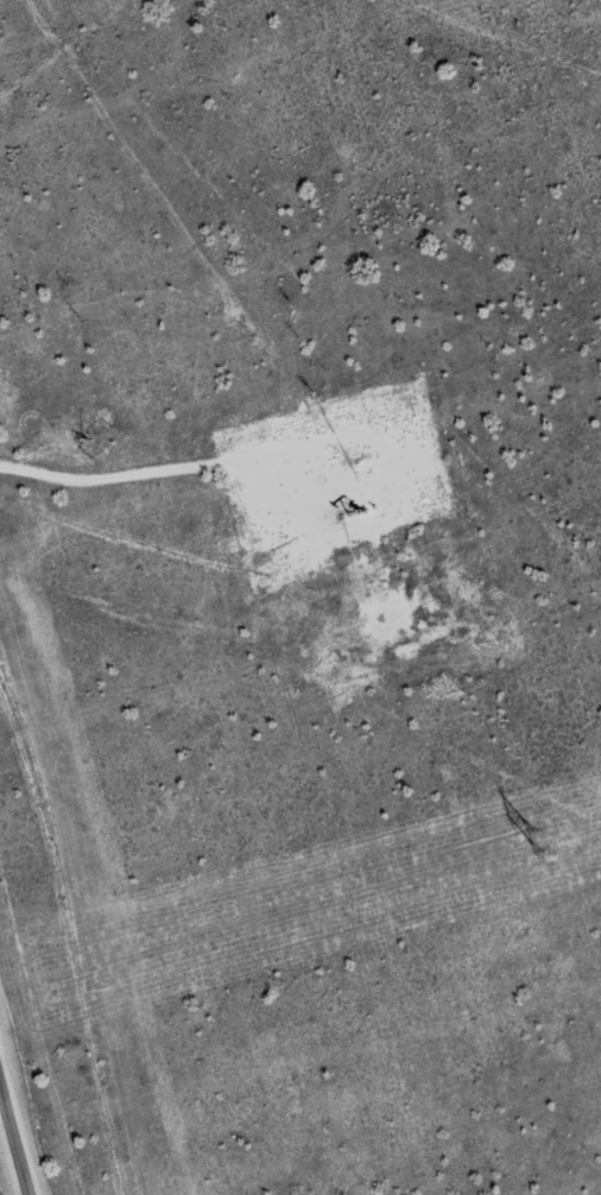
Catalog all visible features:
power tower: (533, 843)
road: (13, 1136)

